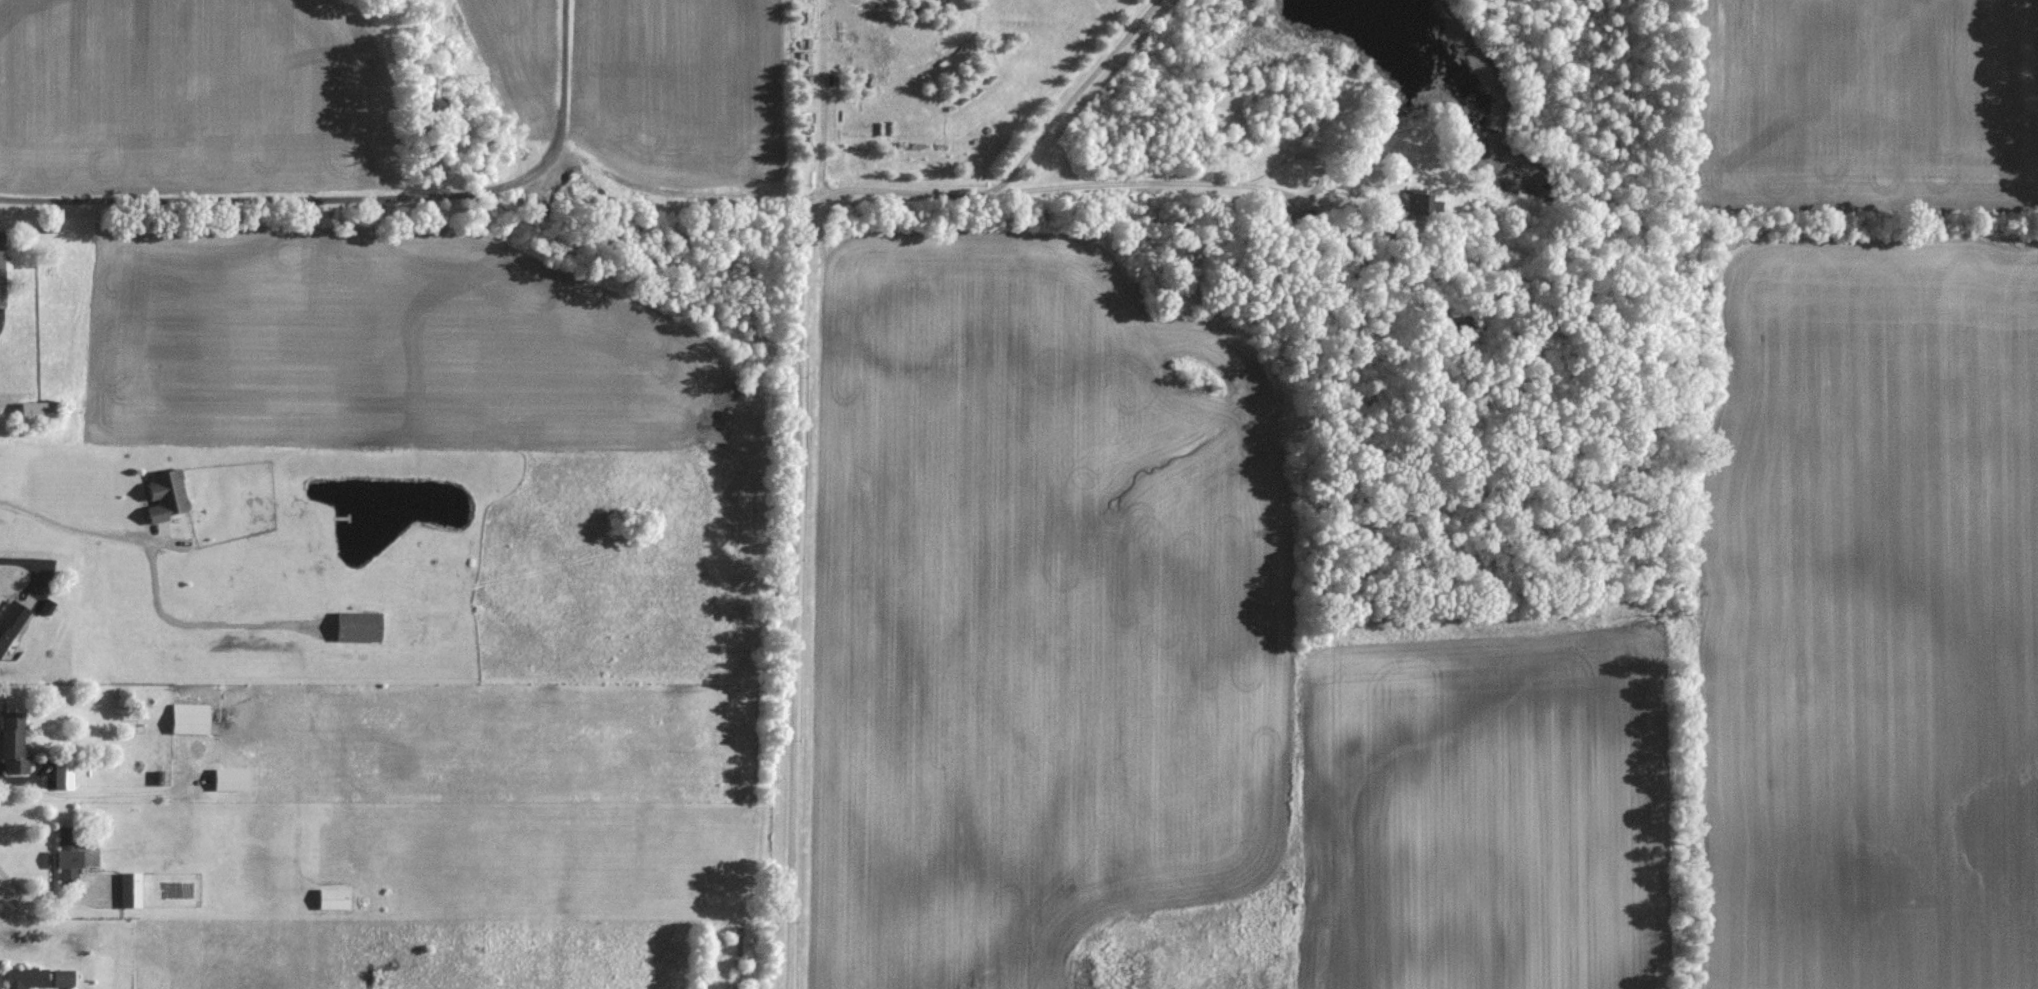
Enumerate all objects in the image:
road: (1071, 101)
road: (827, 106)
road: (1203, 181)
road: (358, 201)
building: (1, 268)
building: (39, 411)
building: (166, 493)
road: (796, 514)
road: (29, 563)
road: (160, 576)
building: (11, 623)
building: (359, 626)
building: (190, 718)
building: (15, 742)
building: (60, 774)
building: (69, 855)
building: (126, 889)
road: (37, 895)
building: (334, 898)
building: (26, 977)
building: (63, 977)

